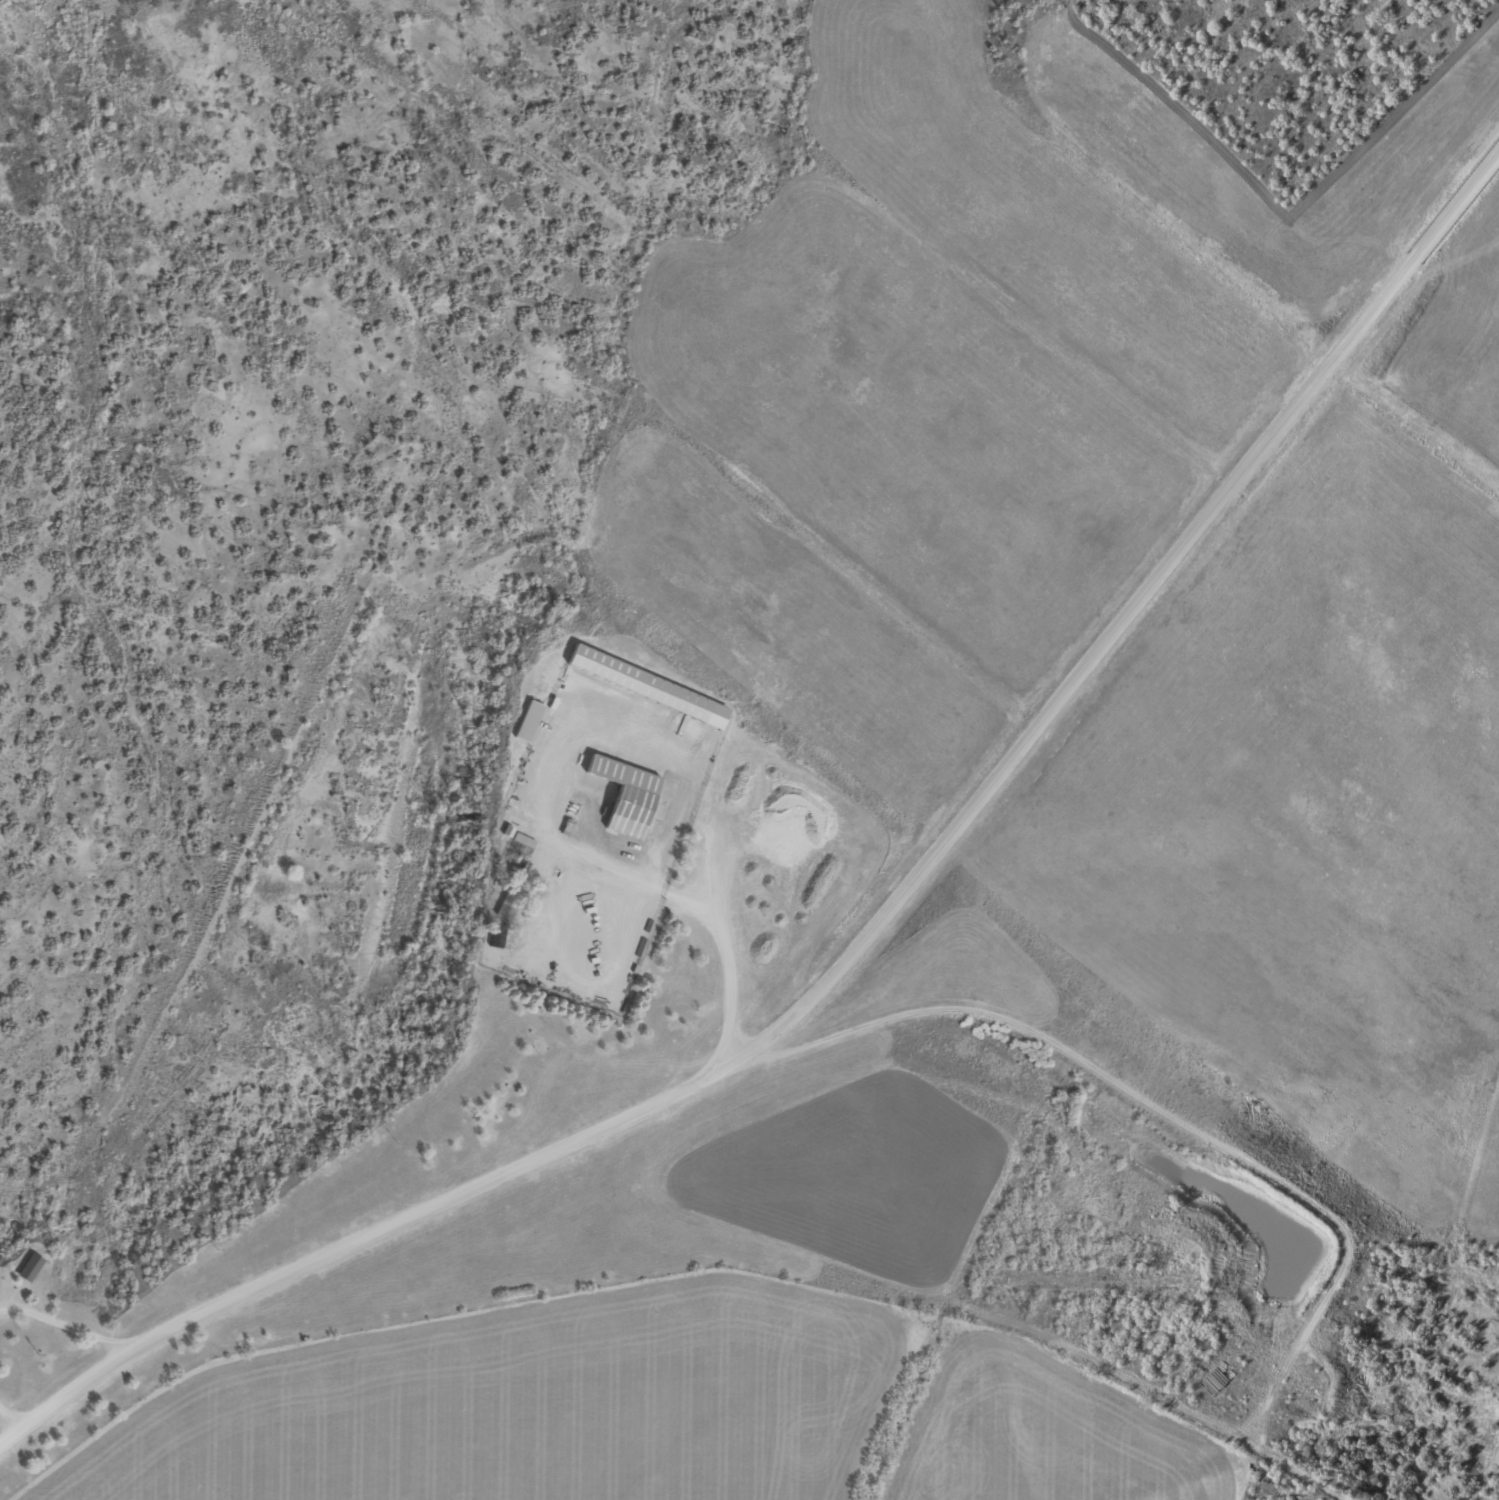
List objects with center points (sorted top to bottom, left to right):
building: (651, 687)
building: (531, 723)
building: (630, 797)
building: (526, 842)
road: (861, 944)
building: (34, 1270)
road: (9, 1421)

